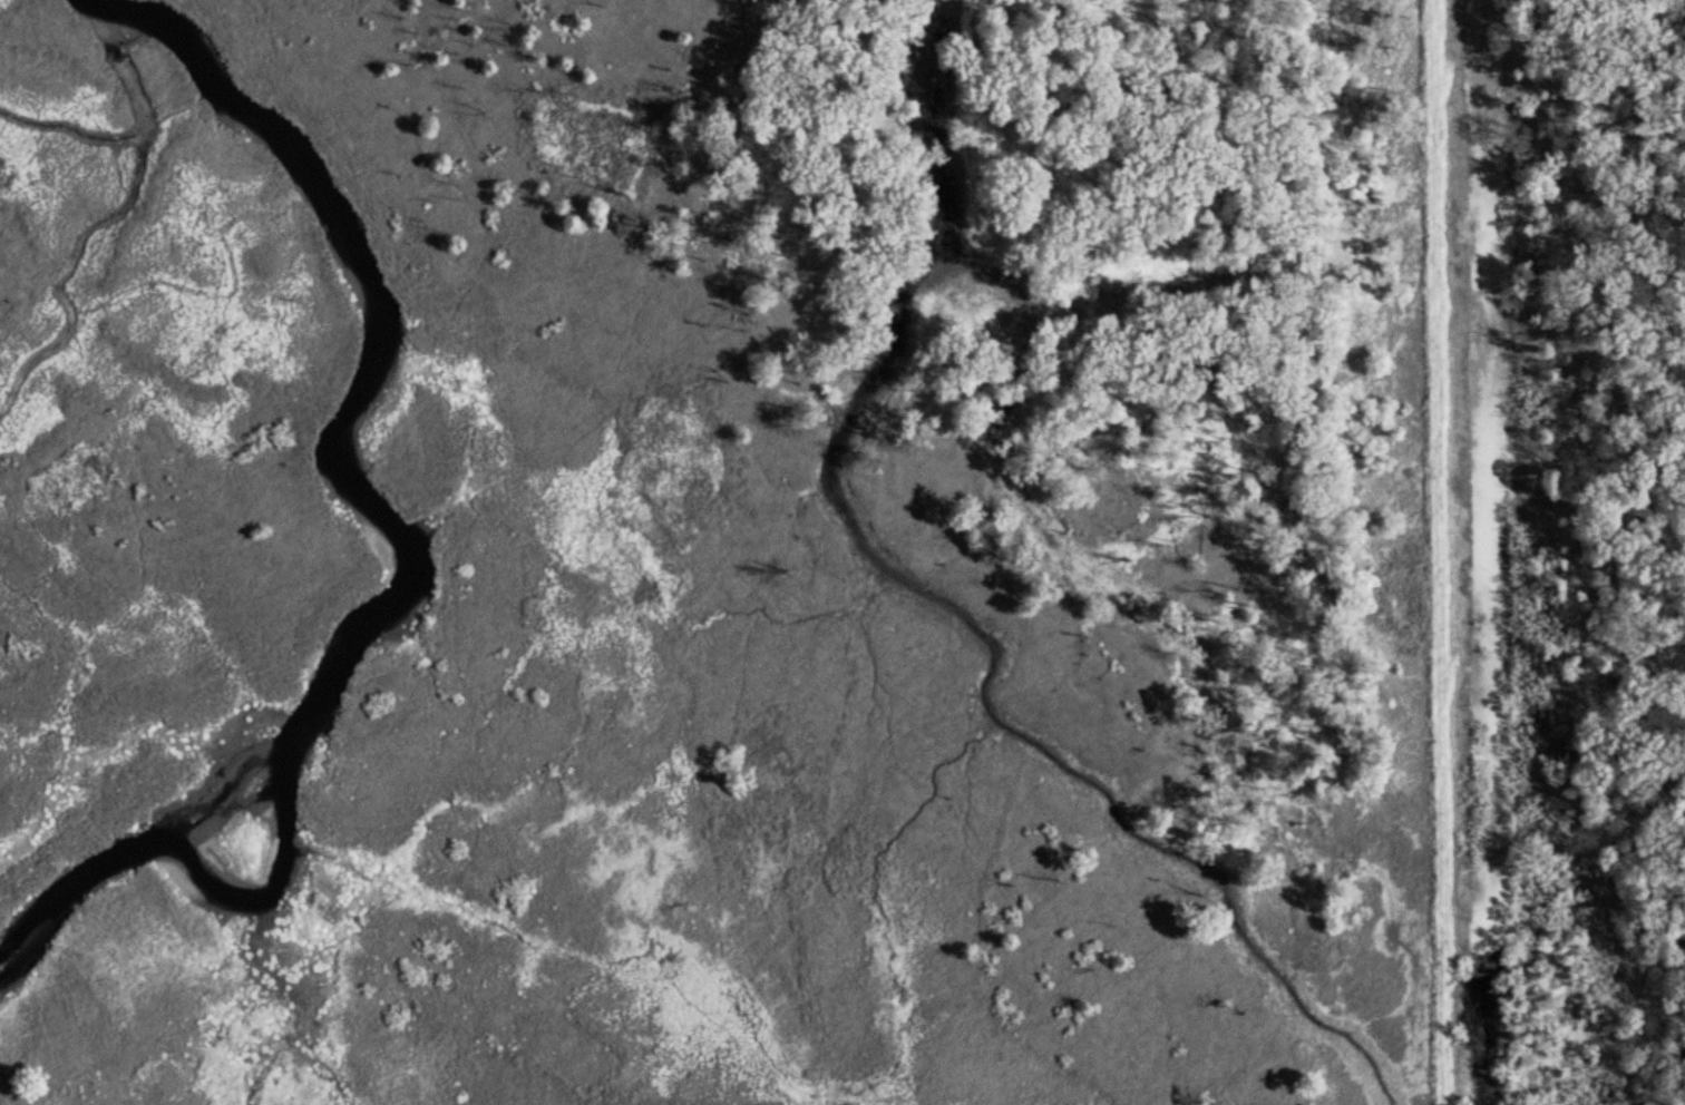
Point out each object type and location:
road: (1430, 552)

